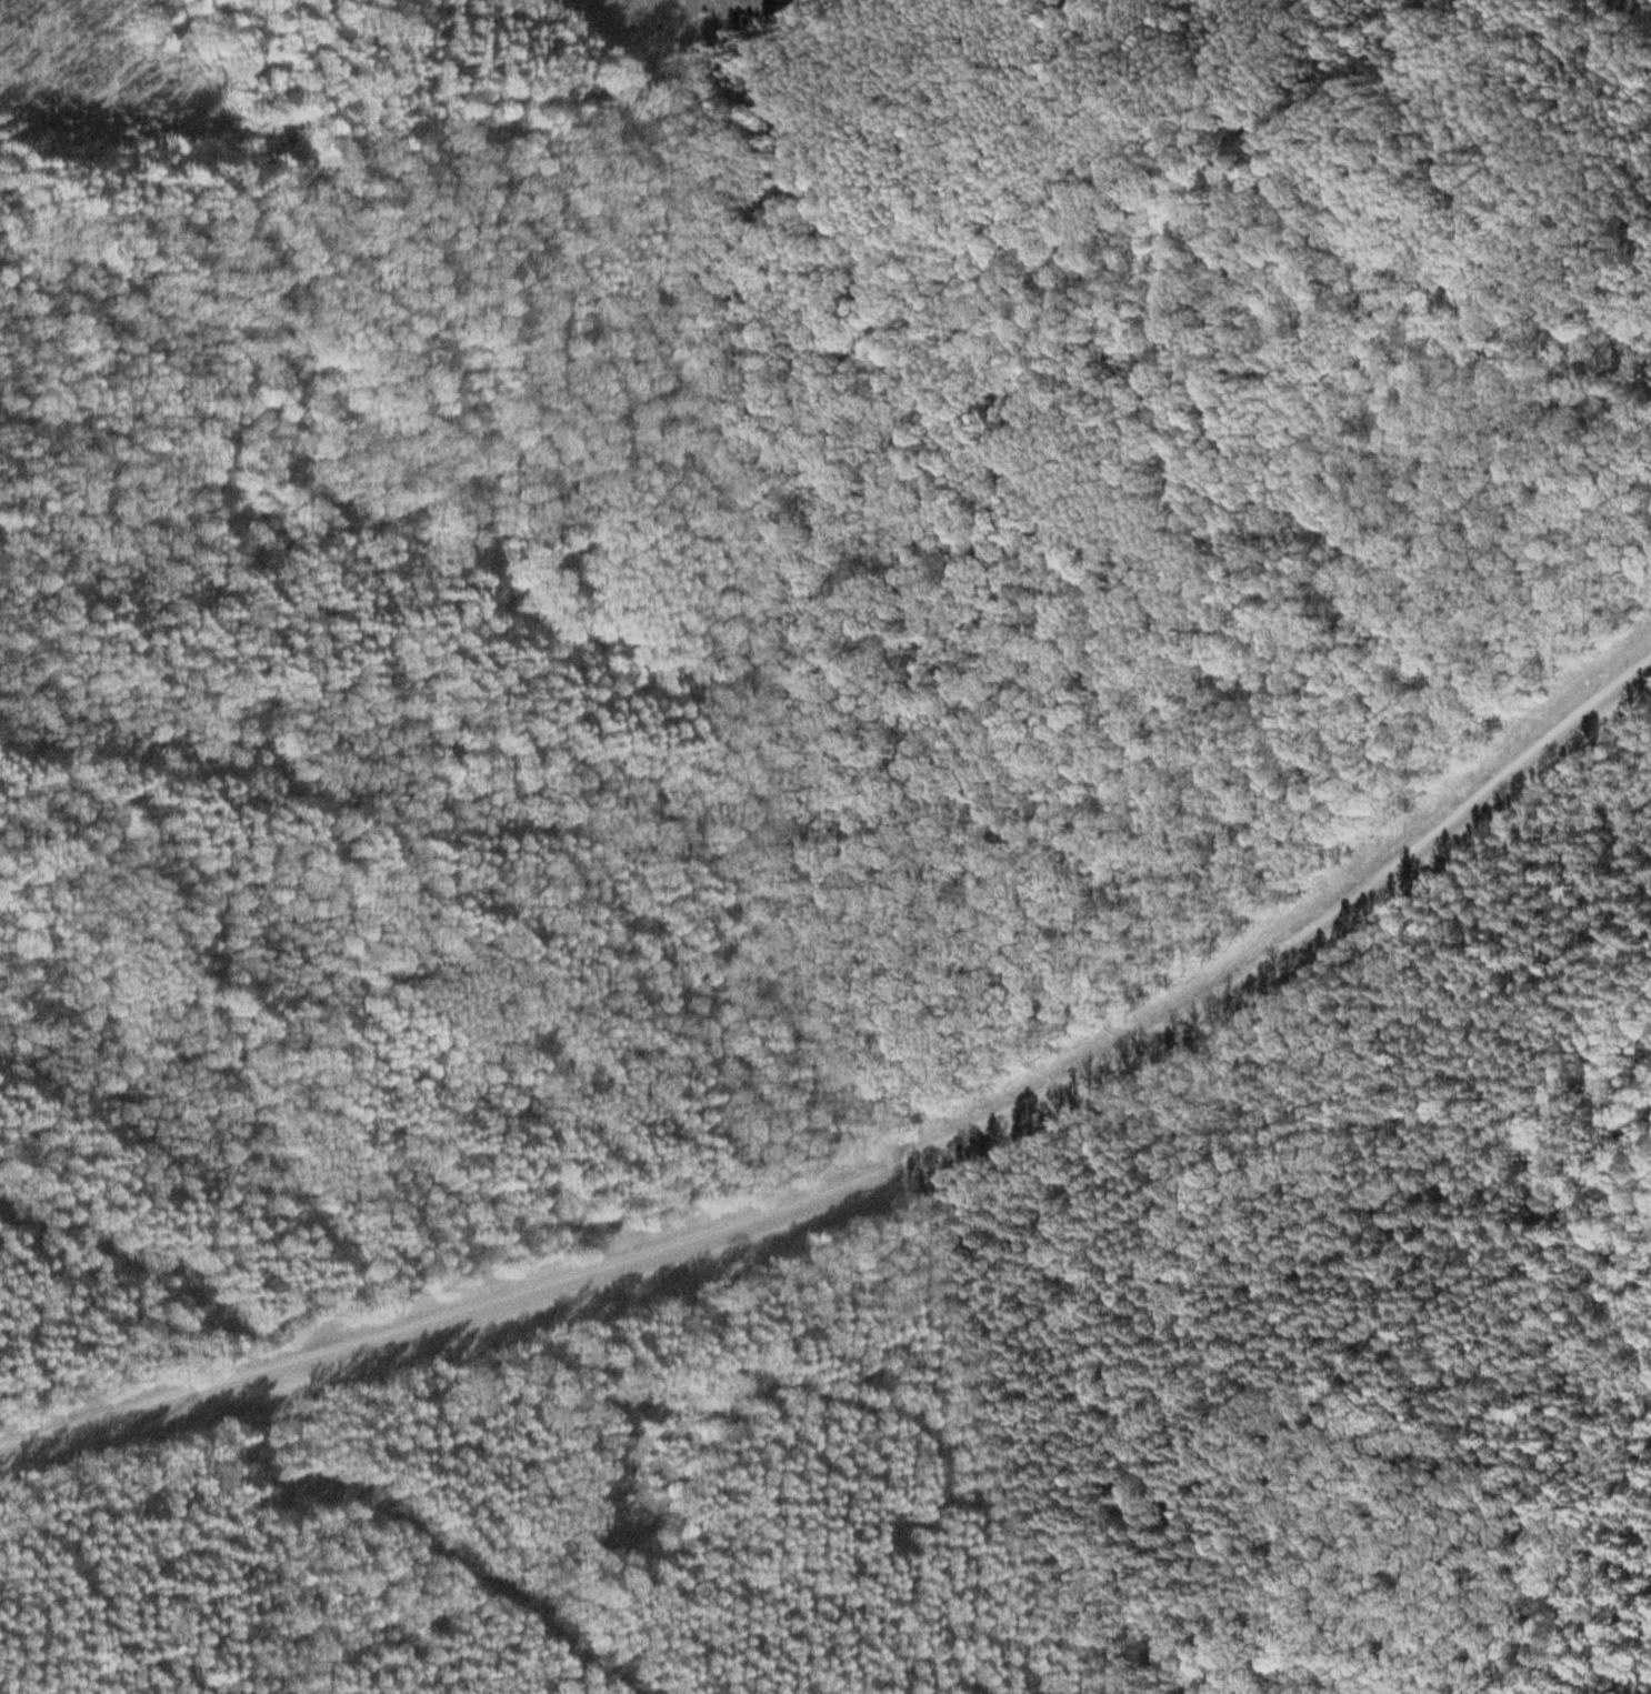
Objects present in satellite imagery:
road: (882, 1184)

